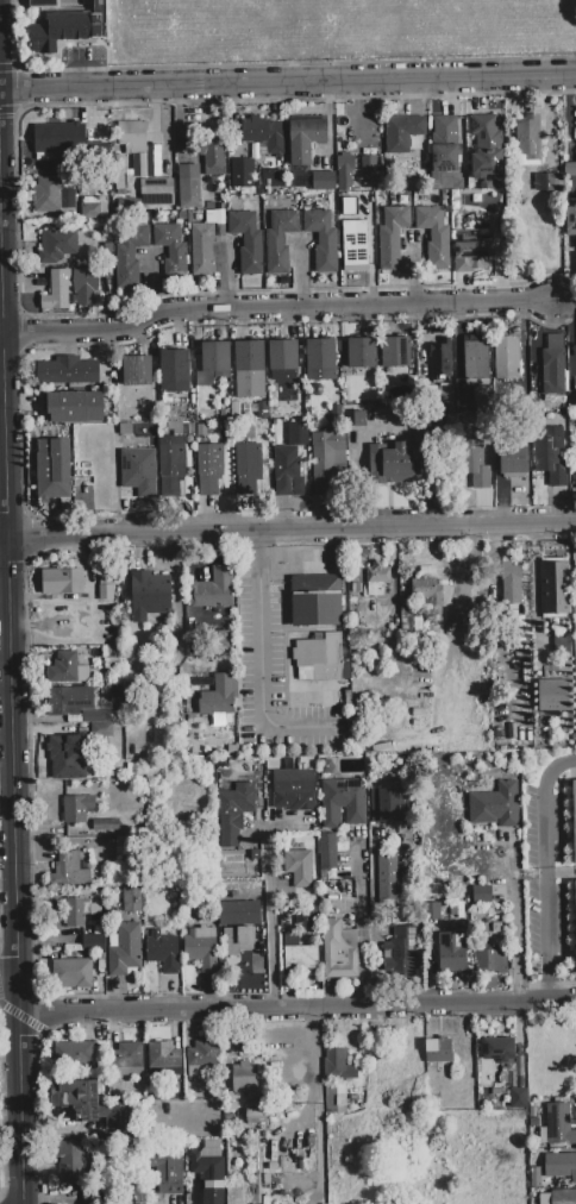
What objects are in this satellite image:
building: (42, 2)
building: (69, 27)
road: (287, 83)
building: (402, 133)
building: (264, 134)
building: (132, 137)
building: (305, 138)
building: (528, 138)
building: (58, 139)
building: (444, 144)
building: (486, 145)
building: (148, 168)
building: (569, 169)
building: (355, 173)
building: (242, 174)
building: (200, 175)
building: (299, 176)
building: (273, 177)
building: (544, 181)
building: (323, 182)
building: (156, 193)
building: (52, 194)
building: (92, 207)
building: (570, 219)
building: (434, 236)
building: (390, 237)
building: (321, 239)
building: (278, 240)
building: (248, 242)
building: (56, 245)
building: (355, 246)
building: (200, 249)
building: (171, 251)
building: (471, 255)
building: (129, 258)
building: (84, 278)
building: (56, 291)
road: (1, 305)
road: (273, 307)
road: (571, 324)
building: (394, 352)
building: (362, 353)
building: (282, 355)
building: (438, 357)
building: (506, 358)
building: (319, 359)
road: (5, 360)
building: (475, 360)
building: (211, 362)
building: (552, 365)
building: (136, 370)
building: (249, 370)
building: (67, 371)
building: (175, 371)
building: (575, 394)
building: (480, 399)
building: (74, 407)
building: (382, 414)
building: (358, 416)
building: (550, 456)
building: (326, 459)
building: (512, 459)
building: (399, 462)
building: (475, 463)
building: (170, 465)
building: (575, 465)
building: (137, 468)
building: (246, 468)
building: (54, 469)
building: (208, 469)
building: (287, 471)
road: (290, 531)
road: (4, 538)
building: (377, 576)
building: (62, 581)
building: (509, 584)
building: (553, 588)
building: (213, 589)
building: (425, 590)
building: (105, 592)
building: (150, 597)
building: (315, 601)
building: (217, 641)
building: (562, 644)
building: (321, 657)
road: (262, 663)
building: (67, 669)
building: (553, 695)
building: (219, 696)
building: (69, 700)
building: (95, 716)
building: (102, 730)
building: (68, 746)
building: (56, 770)
building: (293, 790)
building: (343, 802)
building: (388, 803)
building: (495, 805)
building: (76, 808)
building: (232, 813)
building: (574, 819)
building: (104, 824)
building: (327, 851)
road: (544, 853)
building: (298, 861)
road: (14, 871)
building: (68, 871)
building: (388, 878)
building: (482, 895)
building: (575, 896)
building: (131, 901)
building: (430, 910)
building: (75, 913)
building: (238, 914)
road: (362, 920)
road: (268, 921)
road: (515, 921)
building: (237, 940)
building: (93, 943)
building: (401, 943)
building: (201, 947)
building: (124, 949)
building: (162, 949)
building: (338, 949)
building: (451, 953)
building: (301, 958)
building: (490, 959)
building: (70, 973)
road: (549, 984)
road: (8, 996)
road: (295, 1007)
building: (497, 1049)
building: (438, 1051)
building: (74, 1053)
building: (126, 1055)
building: (163, 1055)
building: (201, 1056)
building: (338, 1065)
building: (244, 1078)
building: (333, 1093)
building: (518, 1098)
building: (88, 1104)
building: (256, 1112)
building: (557, 1125)
building: (69, 1159)
building: (559, 1166)
building: (209, 1171)
building: (167, 1173)
building: (563, 1197)

